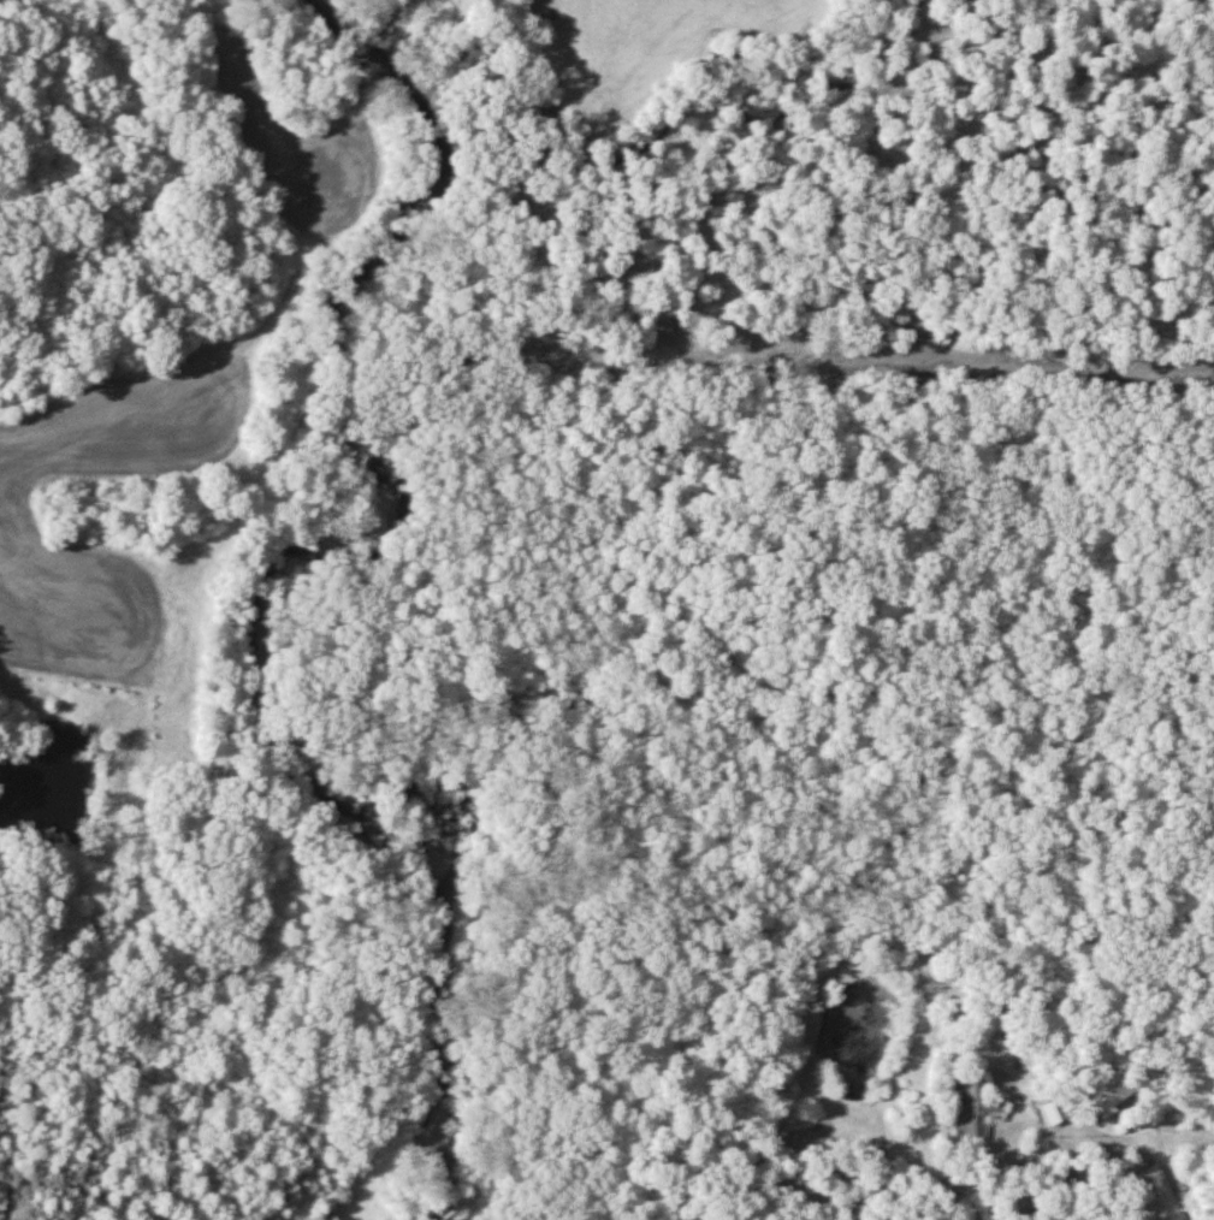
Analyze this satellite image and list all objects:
building: (972, 1109)
building: (1151, 1195)

